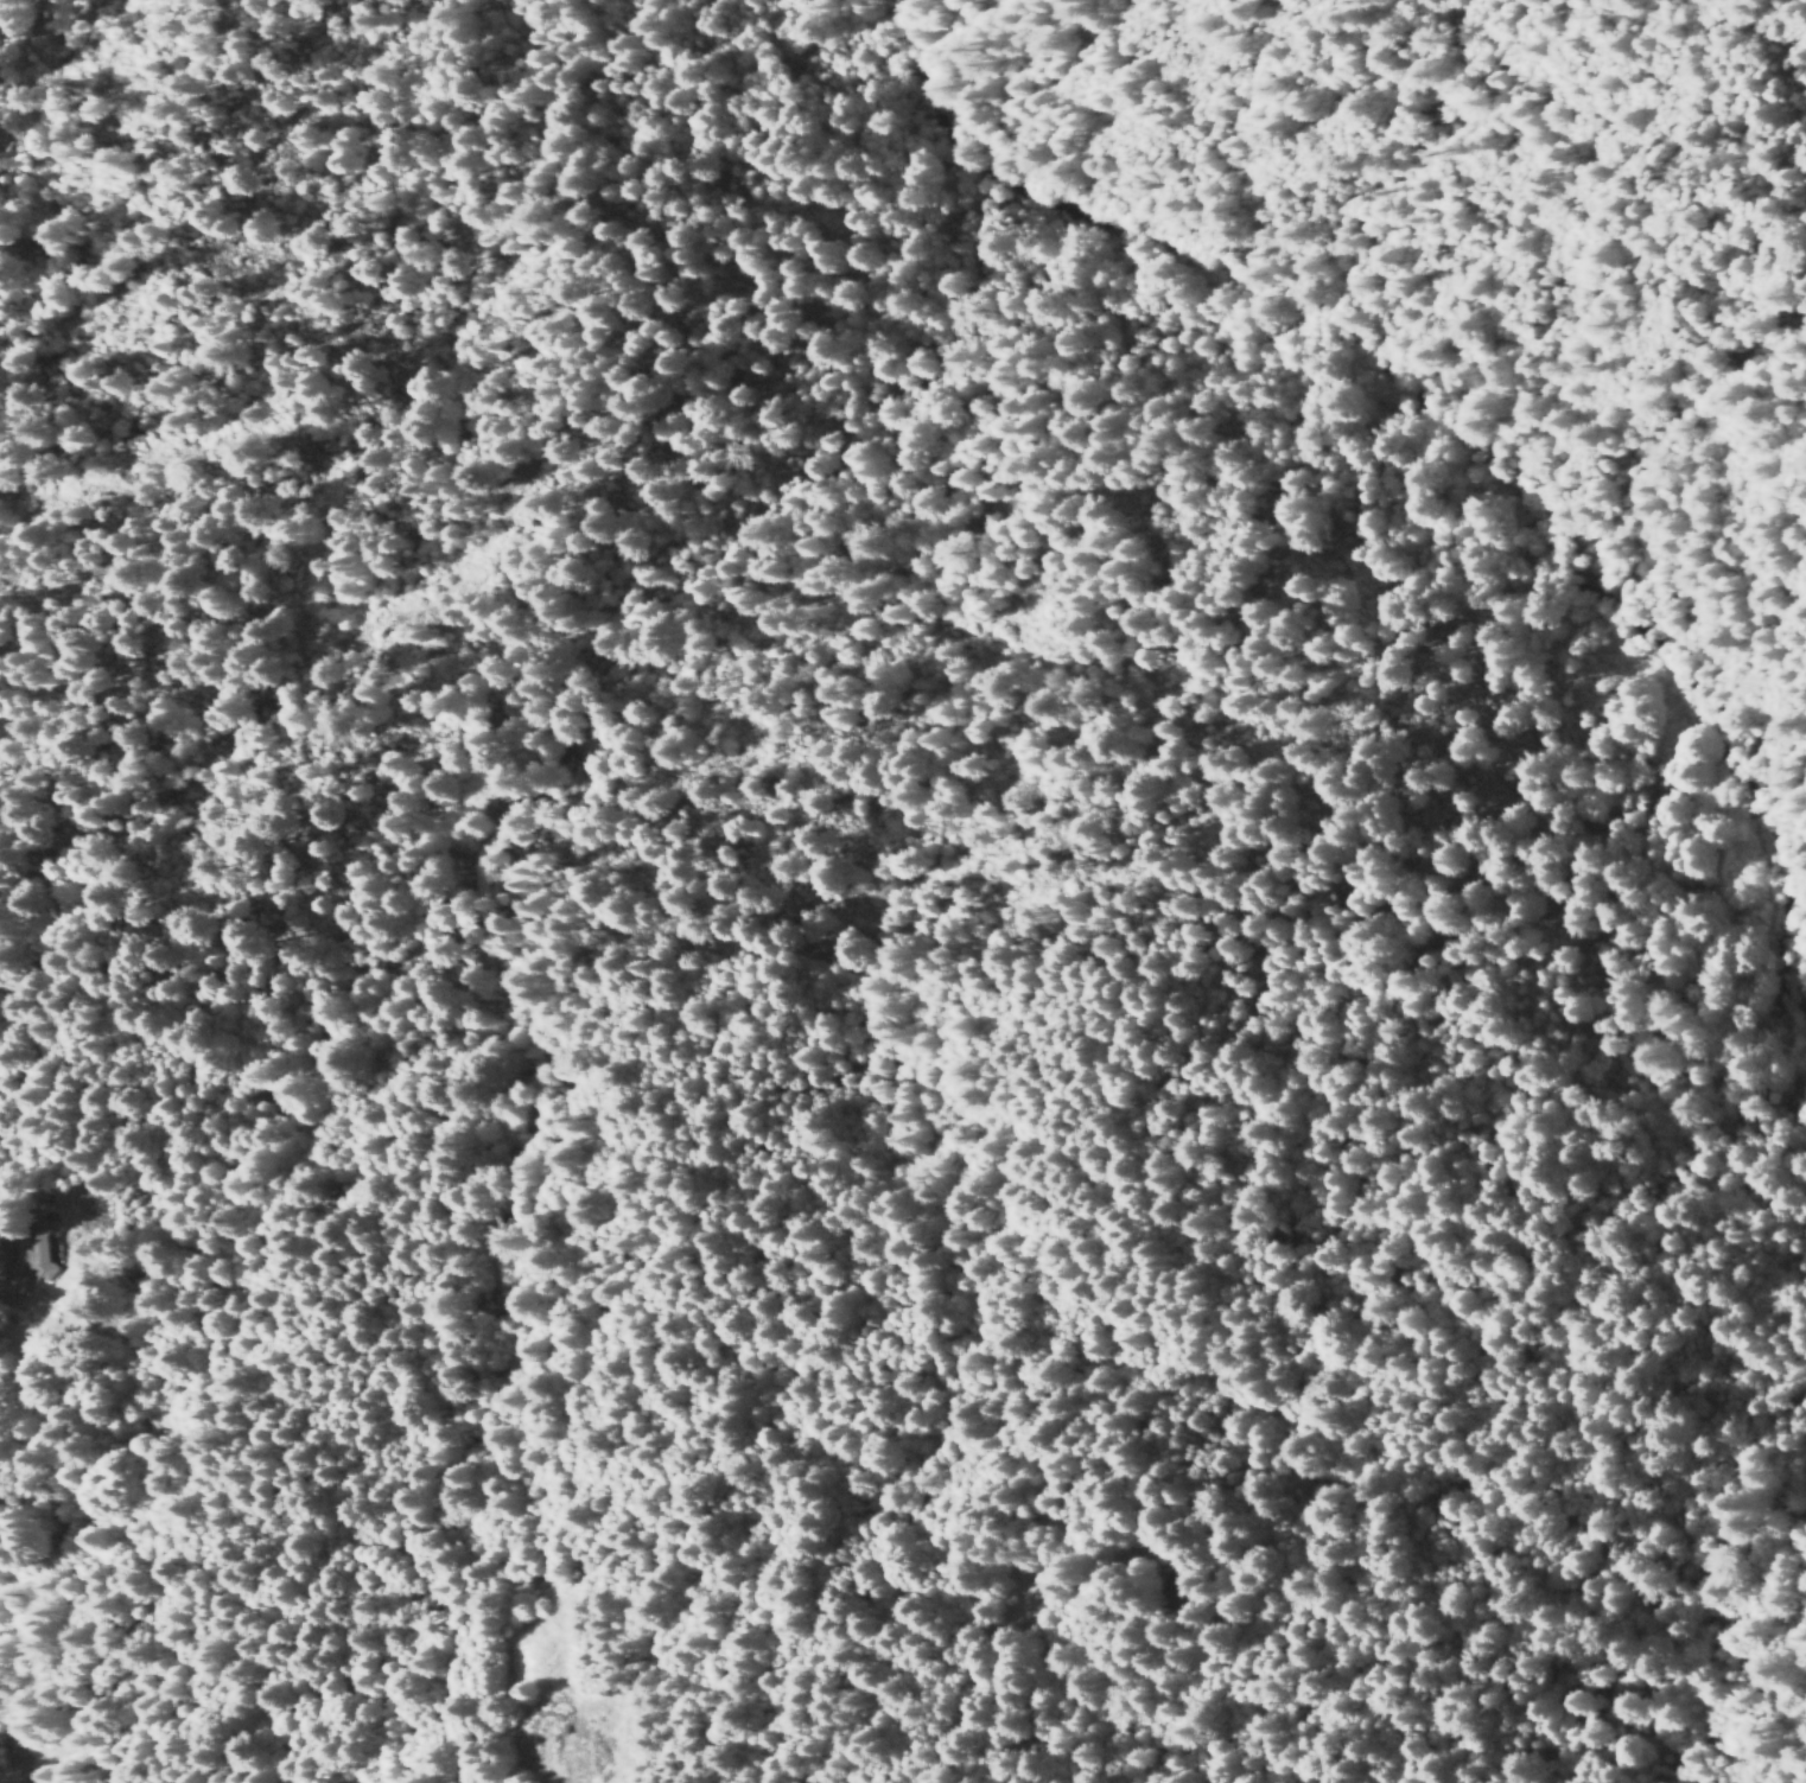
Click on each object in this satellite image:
building: (45, 1250)
road: (667, 1504)
road: (1724, 1529)
building: (1171, 1584)

